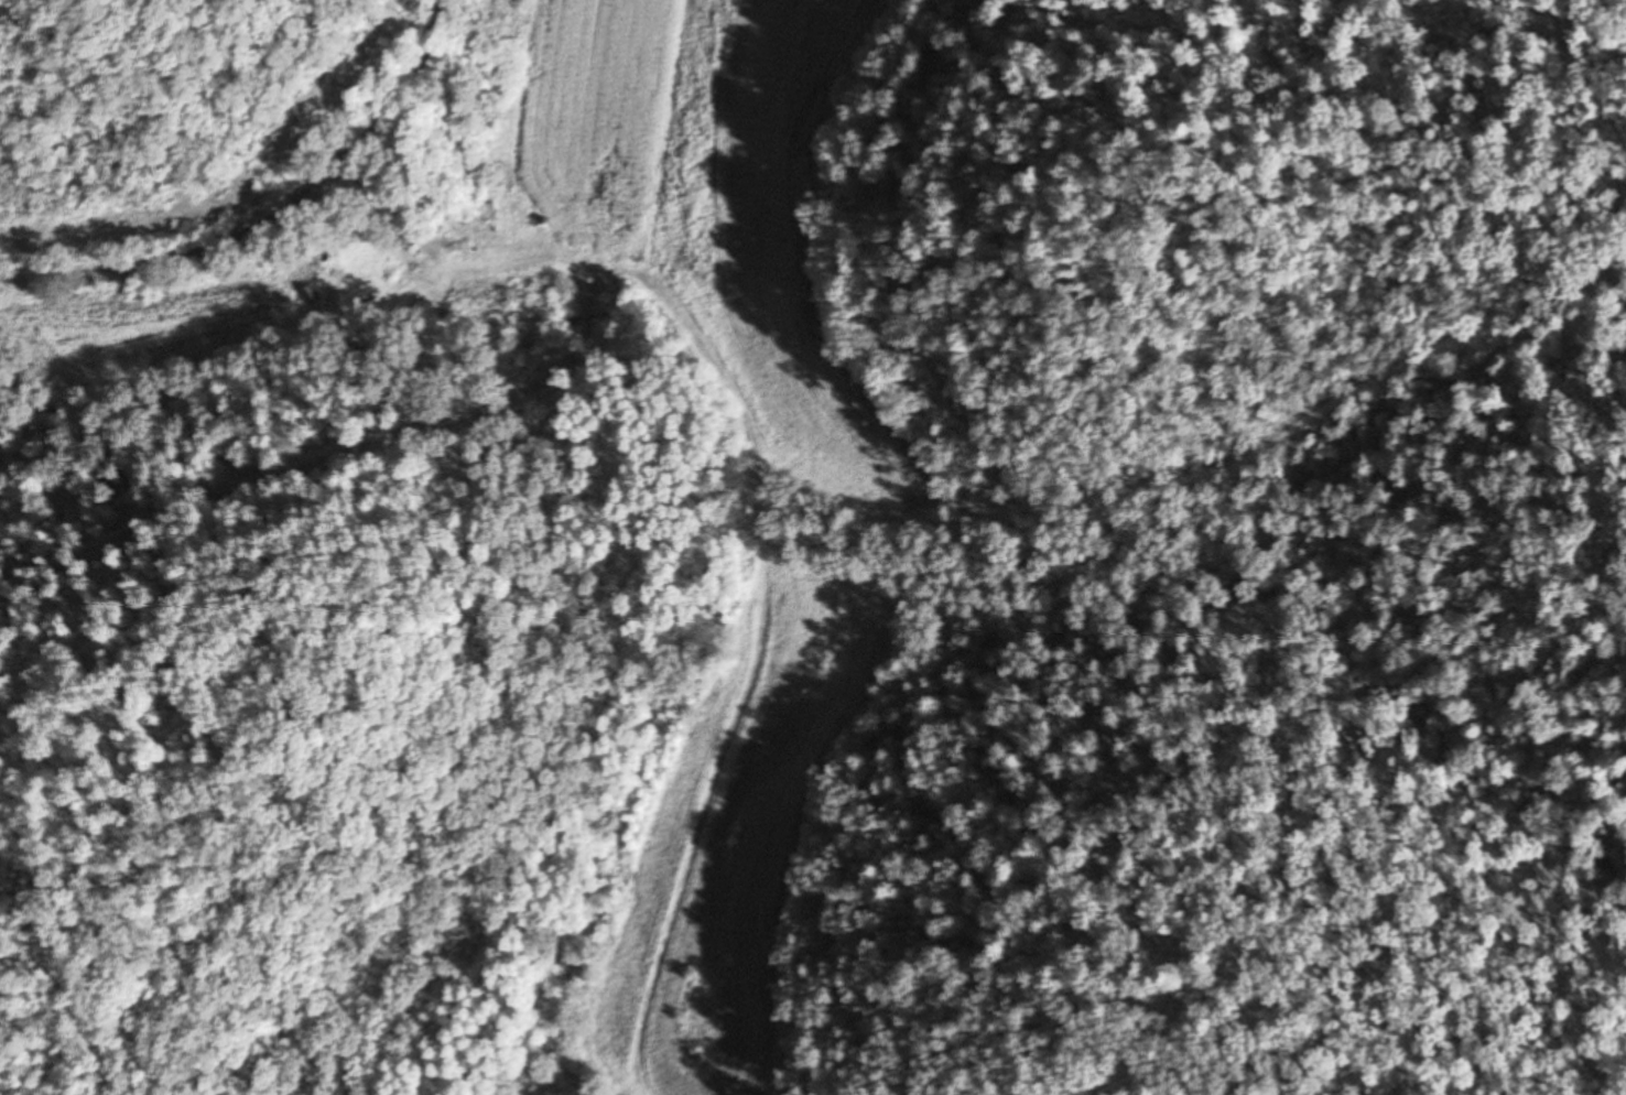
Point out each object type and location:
building: (525, 225)
road: (278, 228)
building: (354, 267)

